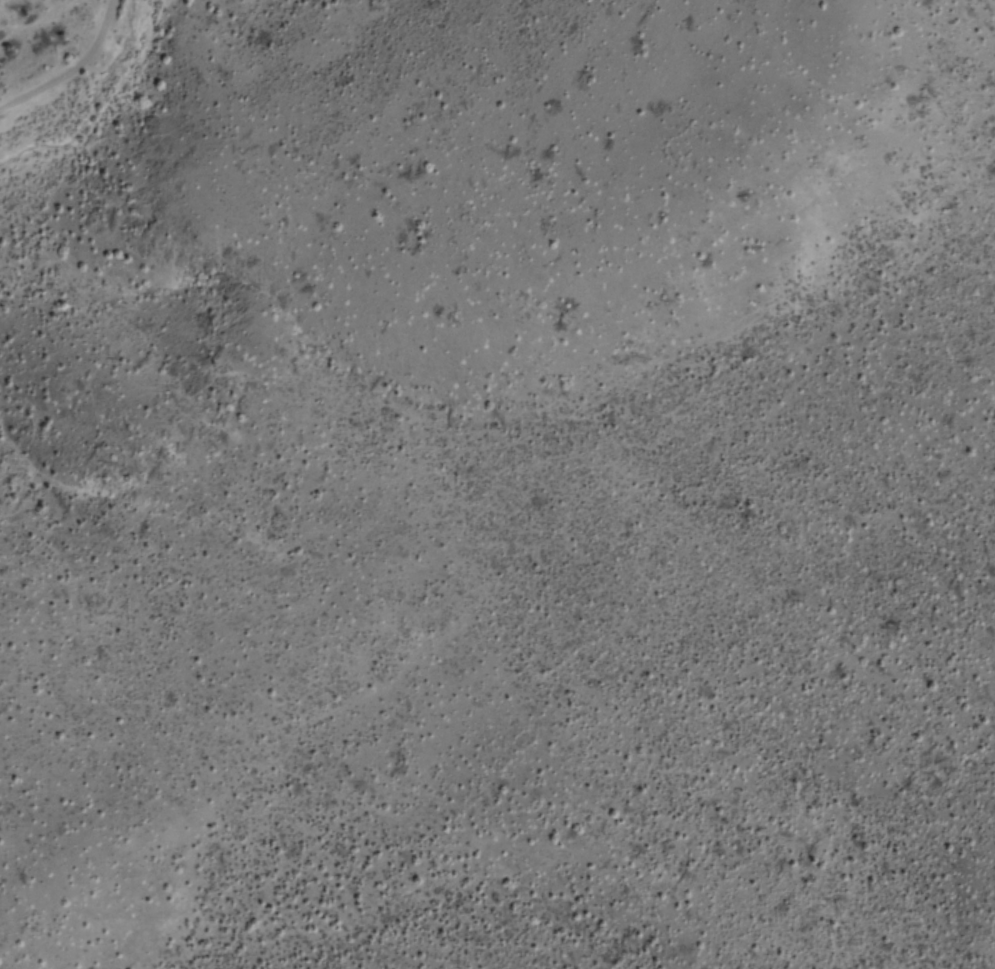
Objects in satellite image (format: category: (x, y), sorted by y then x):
road: (63, 56)

